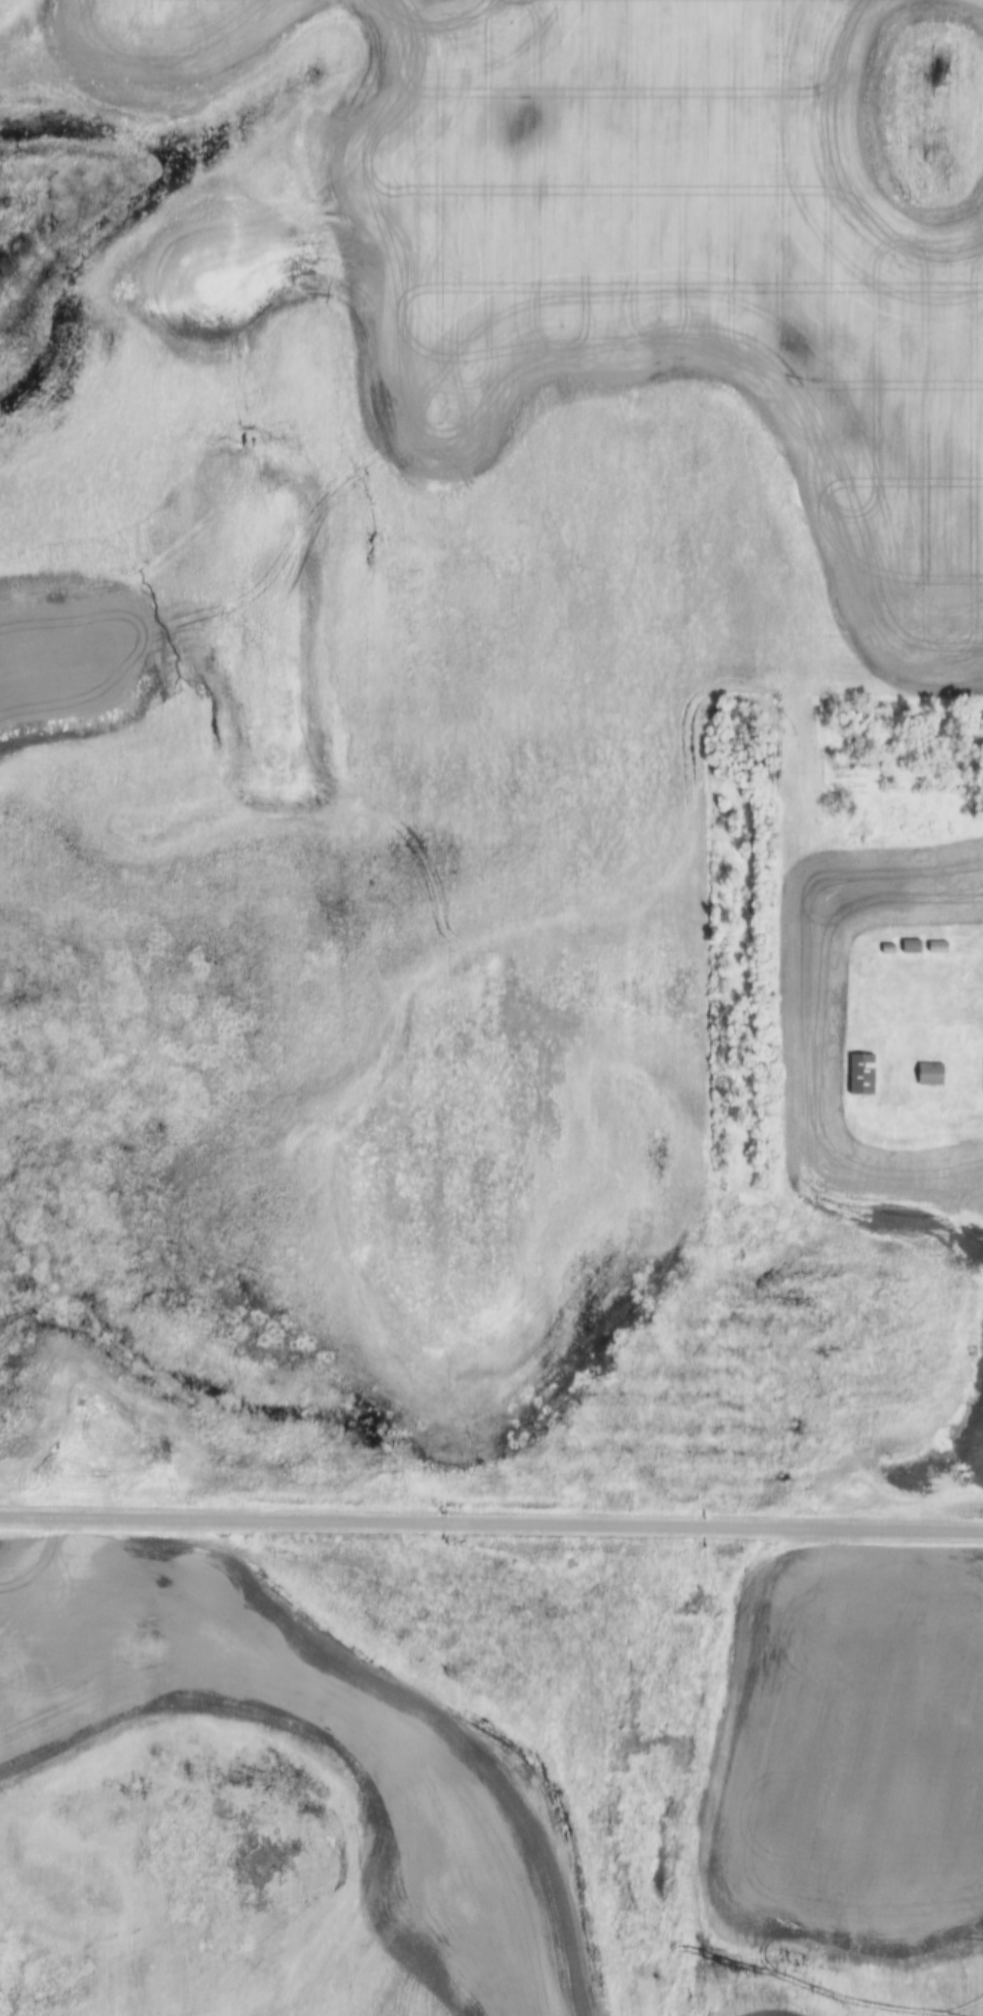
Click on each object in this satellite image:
building: (911, 948)
building: (937, 949)
building: (862, 1075)
building: (930, 1075)
road: (491, 1522)

